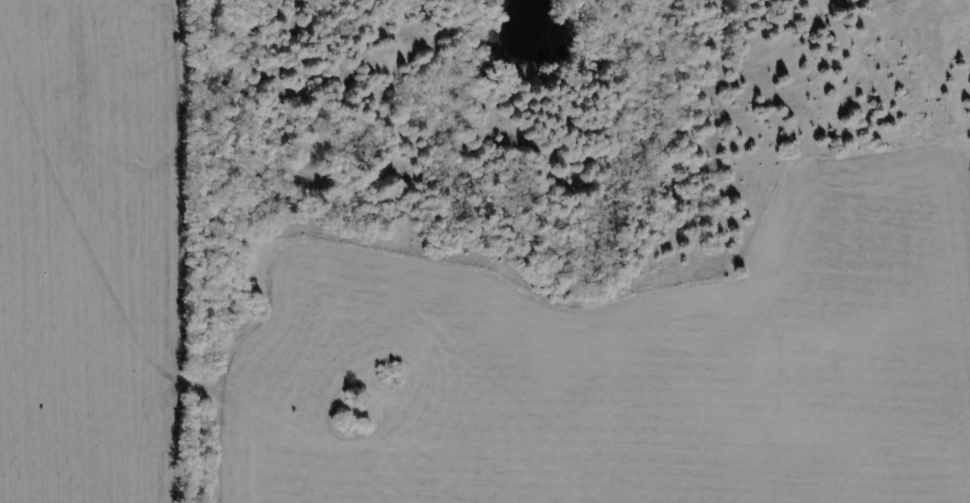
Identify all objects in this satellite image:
road: (211, 251)

